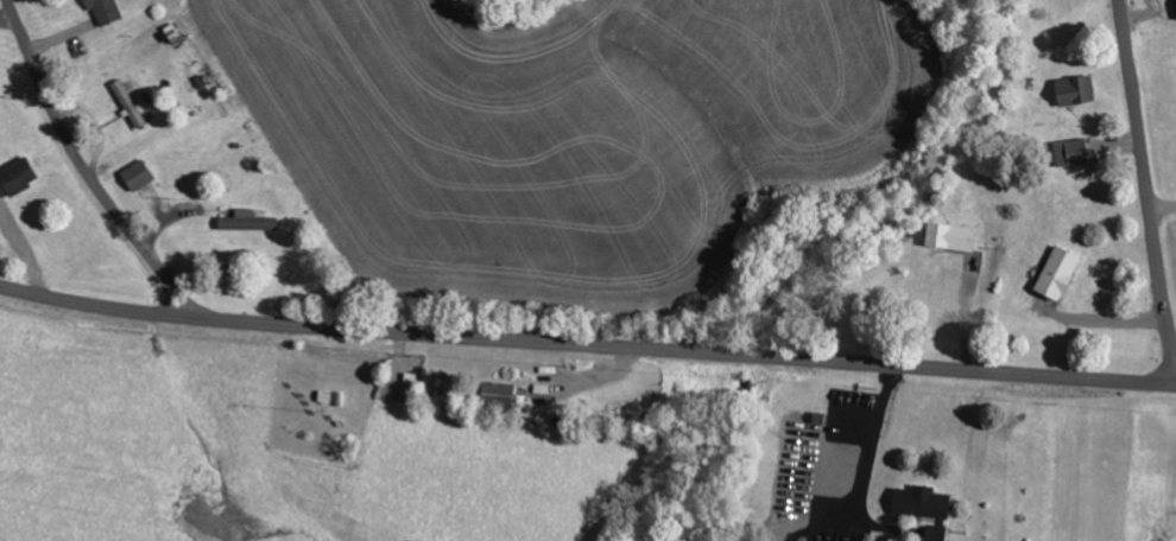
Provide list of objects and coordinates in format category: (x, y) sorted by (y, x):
building: (105, 11)
building: (1075, 90)
building: (128, 102)
building: (1074, 151)
road: (81, 166)
building: (139, 173)
building: (18, 174)
road: (1146, 178)
building: (247, 219)
building: (7, 222)
building: (953, 235)
building: (1061, 272)
road: (586, 346)
building: (499, 393)
building: (927, 508)

